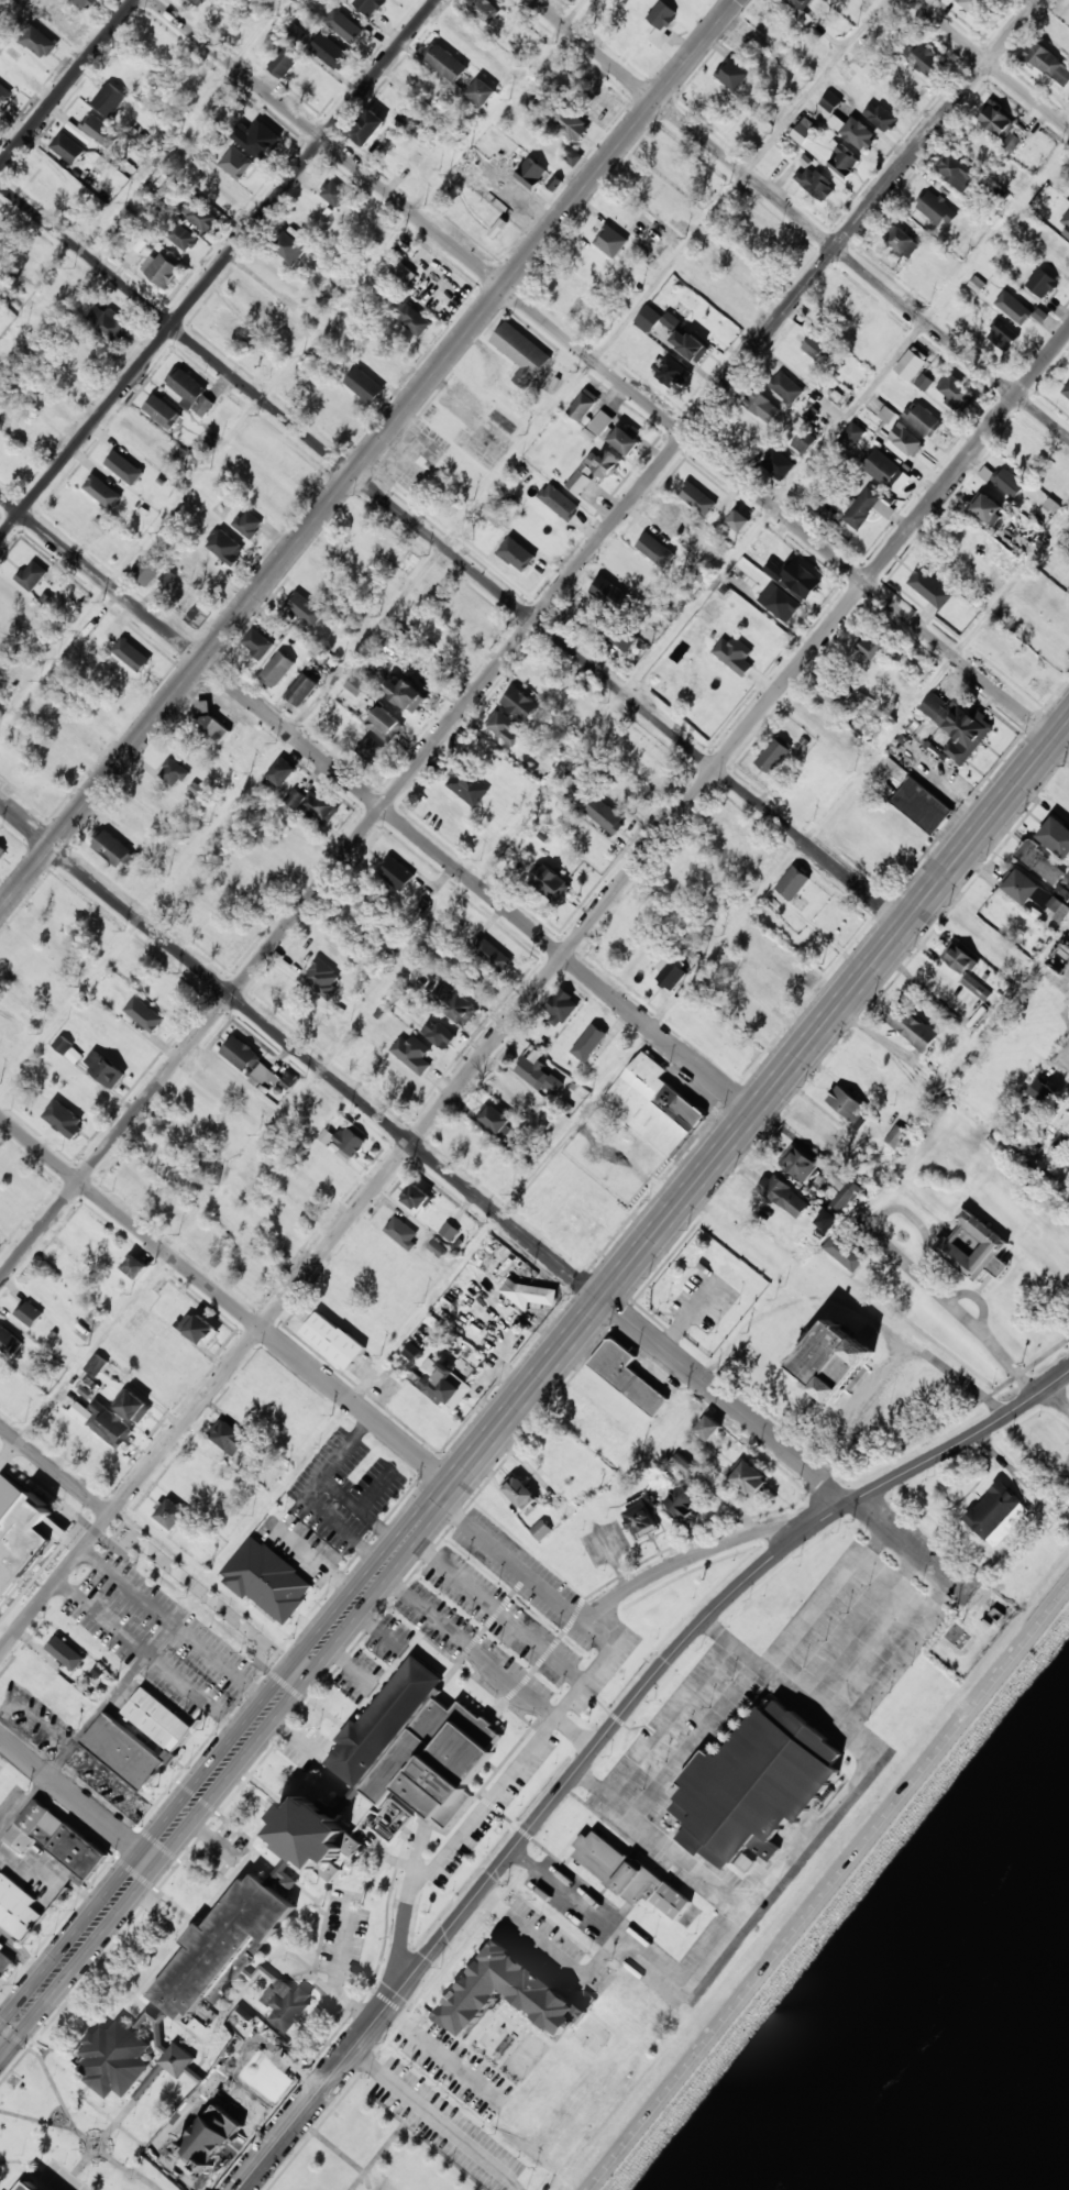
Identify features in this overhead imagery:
building: (571, 0)
building: (85, 2)
building: (198, 2)
building: (367, 5)
building: (974, 5)
building: (797, 7)
building: (483, 9)
building: (63, 13)
building: (661, 22)
building: (343, 25)
building: (295, 33)
building: (38, 42)
building: (330, 52)
building: (922, 58)
building: (444, 60)
building: (283, 62)
road: (991, 63)
building: (1048, 63)
building: (731, 74)
road: (66, 82)
building: (481, 91)
building: (3, 92)
building: (109, 98)
building: (829, 101)
building: (879, 115)
building: (995, 120)
building: (567, 121)
building: (837, 122)
building: (368, 126)
building: (100, 129)
building: (803, 129)
building: (858, 133)
building: (255, 137)
building: (1012, 142)
building: (67, 146)
building: (572, 154)
building: (844, 161)
building: (235, 162)
building: (954, 170)
building: (530, 173)
building: (815, 183)
building: (334, 192)
building: (937, 208)
road: (117, 210)
building: (199, 213)
road: (801, 219)
building: (1064, 222)
building: (179, 235)
building: (610, 240)
building: (901, 240)
building: (288, 245)
building: (162, 268)
road: (218, 268)
building: (403, 273)
building: (1042, 283)
building: (1017, 308)
building: (655, 318)
building: (412, 319)
building: (107, 320)
building: (228, 323)
building: (1002, 335)
building: (688, 343)
building: (822, 350)
building: (520, 352)
road: (291, 361)
building: (911, 363)
building: (670, 371)
road: (611, 374)
building: (923, 382)
building: (364, 384)
building: (785, 386)
building: (952, 387)
building: (1066, 388)
building: (190, 390)
building: (583, 404)
building: (761, 406)
building: (162, 410)
building: (923, 419)
building: (615, 433)
building: (851, 434)
building: (904, 438)
building: (804, 441)
road: (367, 454)
building: (604, 462)
building: (779, 463)
building: (124, 466)
building: (886, 471)
building: (985, 472)
building: (581, 477)
building: (1007, 482)
building: (102, 491)
building: (696, 497)
building: (558, 500)
building: (861, 506)
building: (989, 509)
building: (670, 520)
building: (737, 520)
building: (247, 522)
building: (225, 547)
road: (443, 548)
building: (655, 550)
road: (453, 553)
building: (520, 560)
building: (148, 569)
building: (31, 574)
building: (795, 576)
building: (929, 586)
building: (609, 591)
building: (779, 601)
building: (305, 607)
building: (197, 615)
building: (393, 638)
road: (518, 639)
building: (625, 639)
building: (256, 642)
building: (871, 647)
building: (734, 653)
building: (131, 654)
building: (884, 658)
building: (276, 669)
building: (354, 684)
building: (301, 689)
building: (835, 693)
building: (405, 694)
building: (519, 703)
building: (863, 719)
building: (208, 720)
building: (385, 724)
building: (957, 725)
building: (505, 727)
building: (368, 747)
building: (772, 755)
building: (173, 771)
building: (280, 771)
building: (466, 785)
building: (295, 799)
road: (376, 802)
building: (321, 804)
building: (921, 804)
road: (534, 806)
building: (605, 815)
building: (1056, 836)
building: (113, 849)
building: (1, 850)
building: (1040, 862)
building: (396, 872)
building: (549, 882)
building: (792, 882)
building: (1032, 889)
building: (1059, 909)
building: (492, 955)
building: (1059, 958)
building: (962, 969)
building: (670, 972)
building: (321, 978)
road: (534, 992)
building: (452, 1002)
building: (561, 1006)
building: (144, 1013)
building: (912, 1027)
building: (438, 1033)
building: (588, 1042)
building: (67, 1048)
building: (240, 1053)
building: (412, 1053)
road: (1062, 1056)
building: (104, 1068)
building: (537, 1071)
building: (264, 1075)
building: (287, 1080)
building: (1043, 1090)
building: (653, 1104)
building: (847, 1104)
building: (63, 1119)
building: (495, 1119)
building: (1060, 1120)
building: (895, 1135)
building: (349, 1142)
building: (798, 1163)
road: (533, 1177)
building: (842, 1189)
road: (475, 1192)
building: (784, 1195)
building: (415, 1196)
building: (826, 1220)
building: (449, 1231)
building: (401, 1232)
building: (974, 1246)
building: (844, 1252)
building: (134, 1266)
building: (529, 1292)
road: (227, 1298)
building: (29, 1313)
building: (197, 1328)
building: (332, 1340)
building: (8, 1341)
building: (411, 1351)
building: (835, 1358)
building: (97, 1365)
building: (627, 1375)
building: (442, 1382)
road: (534, 1382)
building: (132, 1405)
building: (104, 1421)
building: (707, 1427)
building: (227, 1437)
road: (943, 1448)
building: (683, 1465)
building: (749, 1476)
building: (518, 1490)
building: (680, 1500)
building: (996, 1512)
building: (175, 1516)
building: (640, 1520)
building: (55, 1529)
building: (541, 1529)
building: (19, 1534)
road: (151, 1547)
road: (702, 1555)
building: (266, 1578)
building: (65, 1652)
building: (110, 1734)
building: (416, 1745)
road: (596, 1748)
building: (753, 1786)
road: (74, 1796)
building: (55, 1838)
building: (311, 1840)
building: (614, 1866)
road: (829, 1889)
building: (671, 1900)
building: (16, 1907)
road: (408, 1910)
building: (233, 1956)
building: (4, 1962)
building: (508, 1993)
traffic signals: (14, 2025)
road: (0, 2040)
road: (0, 2042)
building: (114, 2058)
road: (317, 2091)
building: (219, 2104)
building: (29, 2186)

